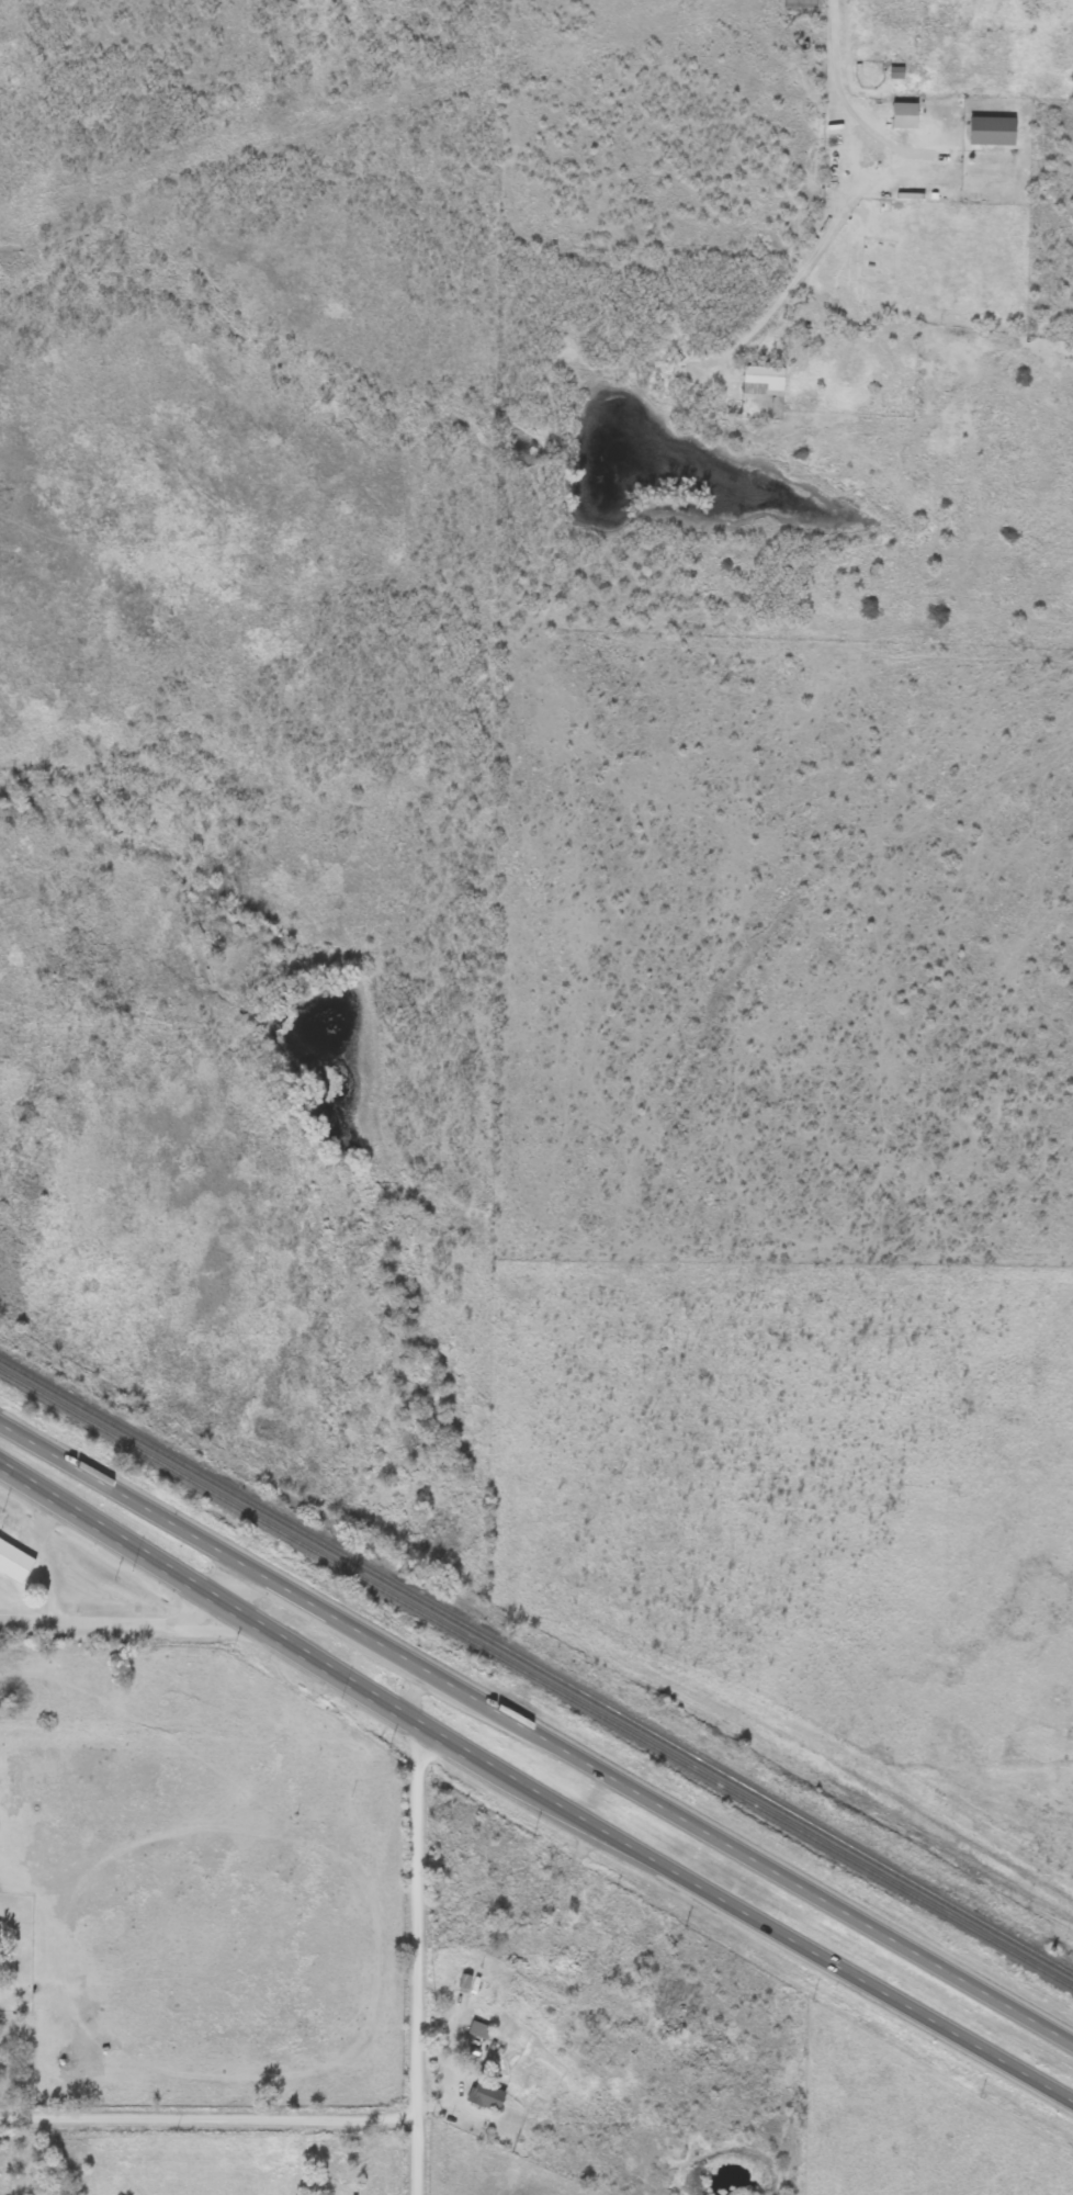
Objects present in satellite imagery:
building: (902, 115)
building: (990, 131)
building: (760, 381)
building: (13, 1562)
road: (236, 1583)
road: (204, 1594)
road: (114, 1622)
railway: (536, 1666)
railway: (535, 1680)
road: (411, 1693)
road: (535, 1735)
road: (741, 1912)
road: (418, 1917)
building: (477, 2029)
building: (484, 2095)
road: (174, 2115)
road: (385, 2116)
road: (420, 2155)

